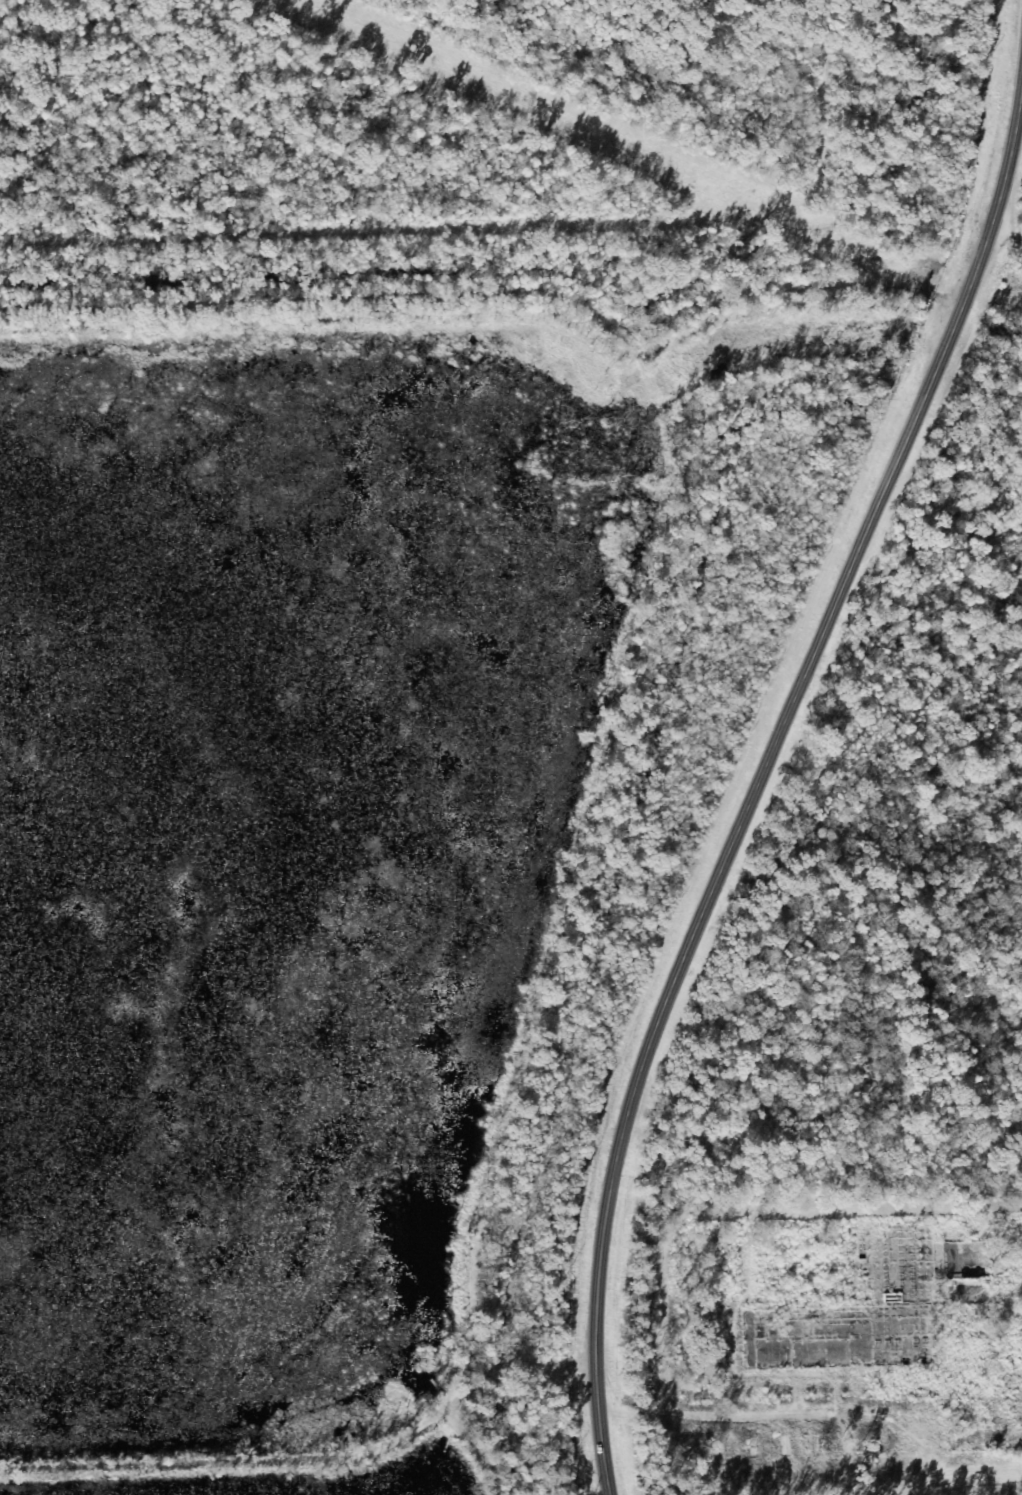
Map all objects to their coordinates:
road: (1008, 227)
road: (759, 782)

